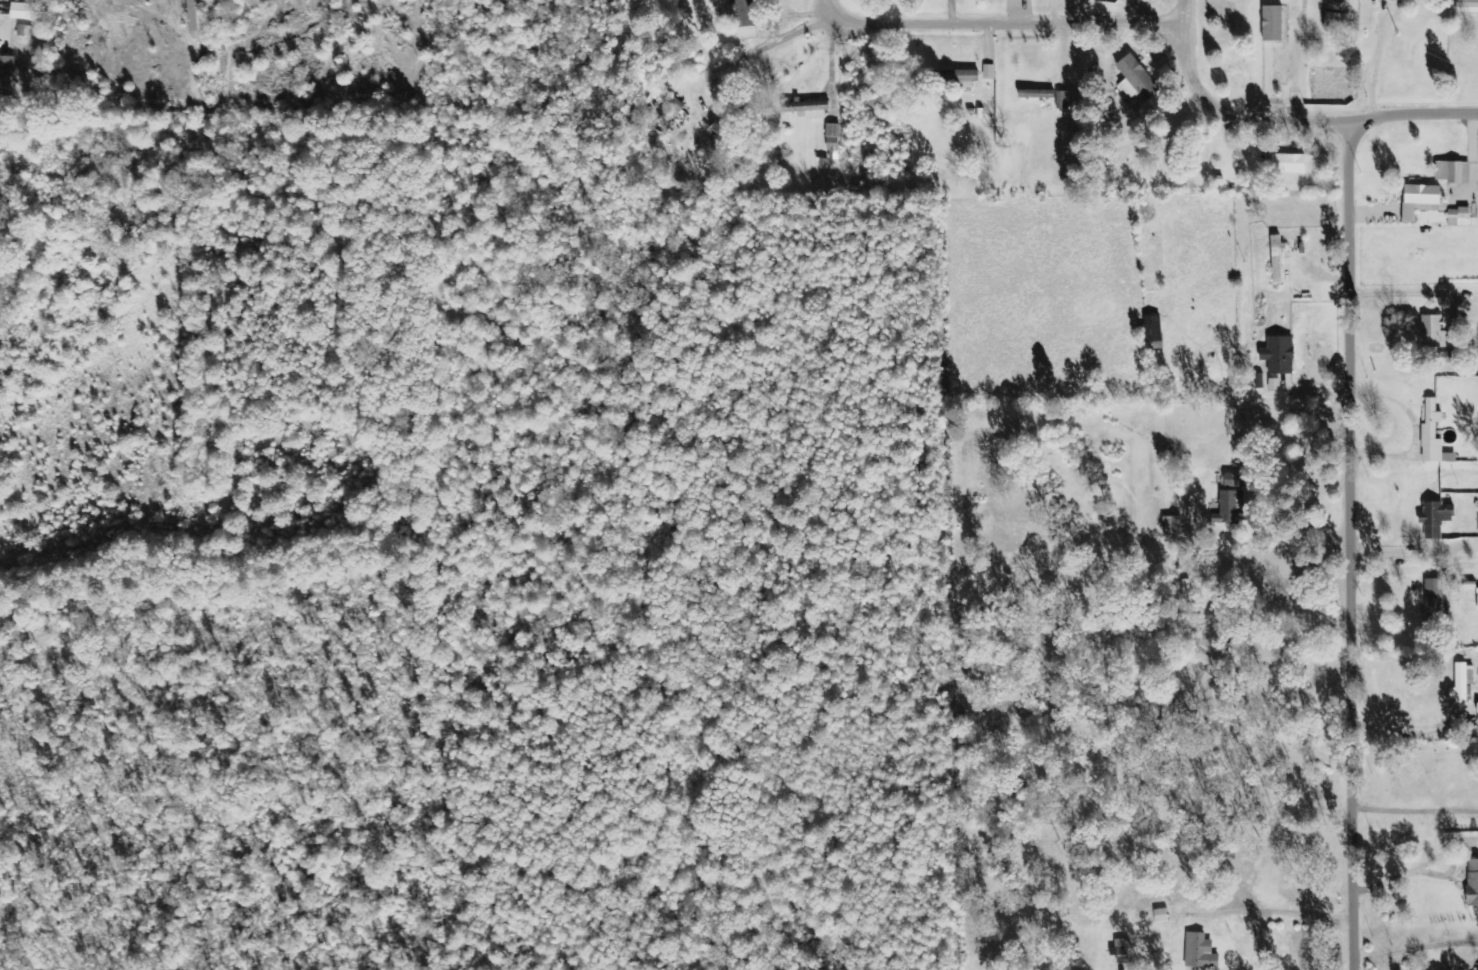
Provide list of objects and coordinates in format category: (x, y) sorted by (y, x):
building: (1128, 2)
building: (1468, 6)
building: (21, 11)
building: (745, 13)
building: (1334, 21)
building: (1273, 23)
road: (1021, 27)
road: (1199, 37)
road: (800, 48)
building: (989, 71)
building: (7, 75)
building: (1136, 79)
building: (1038, 94)
building: (1062, 100)
building: (806, 108)
road: (1419, 114)
road: (1271, 117)
building: (833, 142)
building: (1288, 164)
building: (1453, 172)
building: (1420, 200)
building: (1459, 217)
building: (1433, 333)
building: (1279, 355)
building: (1274, 386)
building: (1433, 436)
building: (1233, 481)
building: (1232, 507)
building: (1436, 519)
road: (1359, 545)
building: (1434, 595)
building: (1464, 684)
building: (1181, 714)
building: (1472, 884)
building: (1161, 916)
building: (1121, 952)
building: (1200, 952)
building: (1477, 969)

